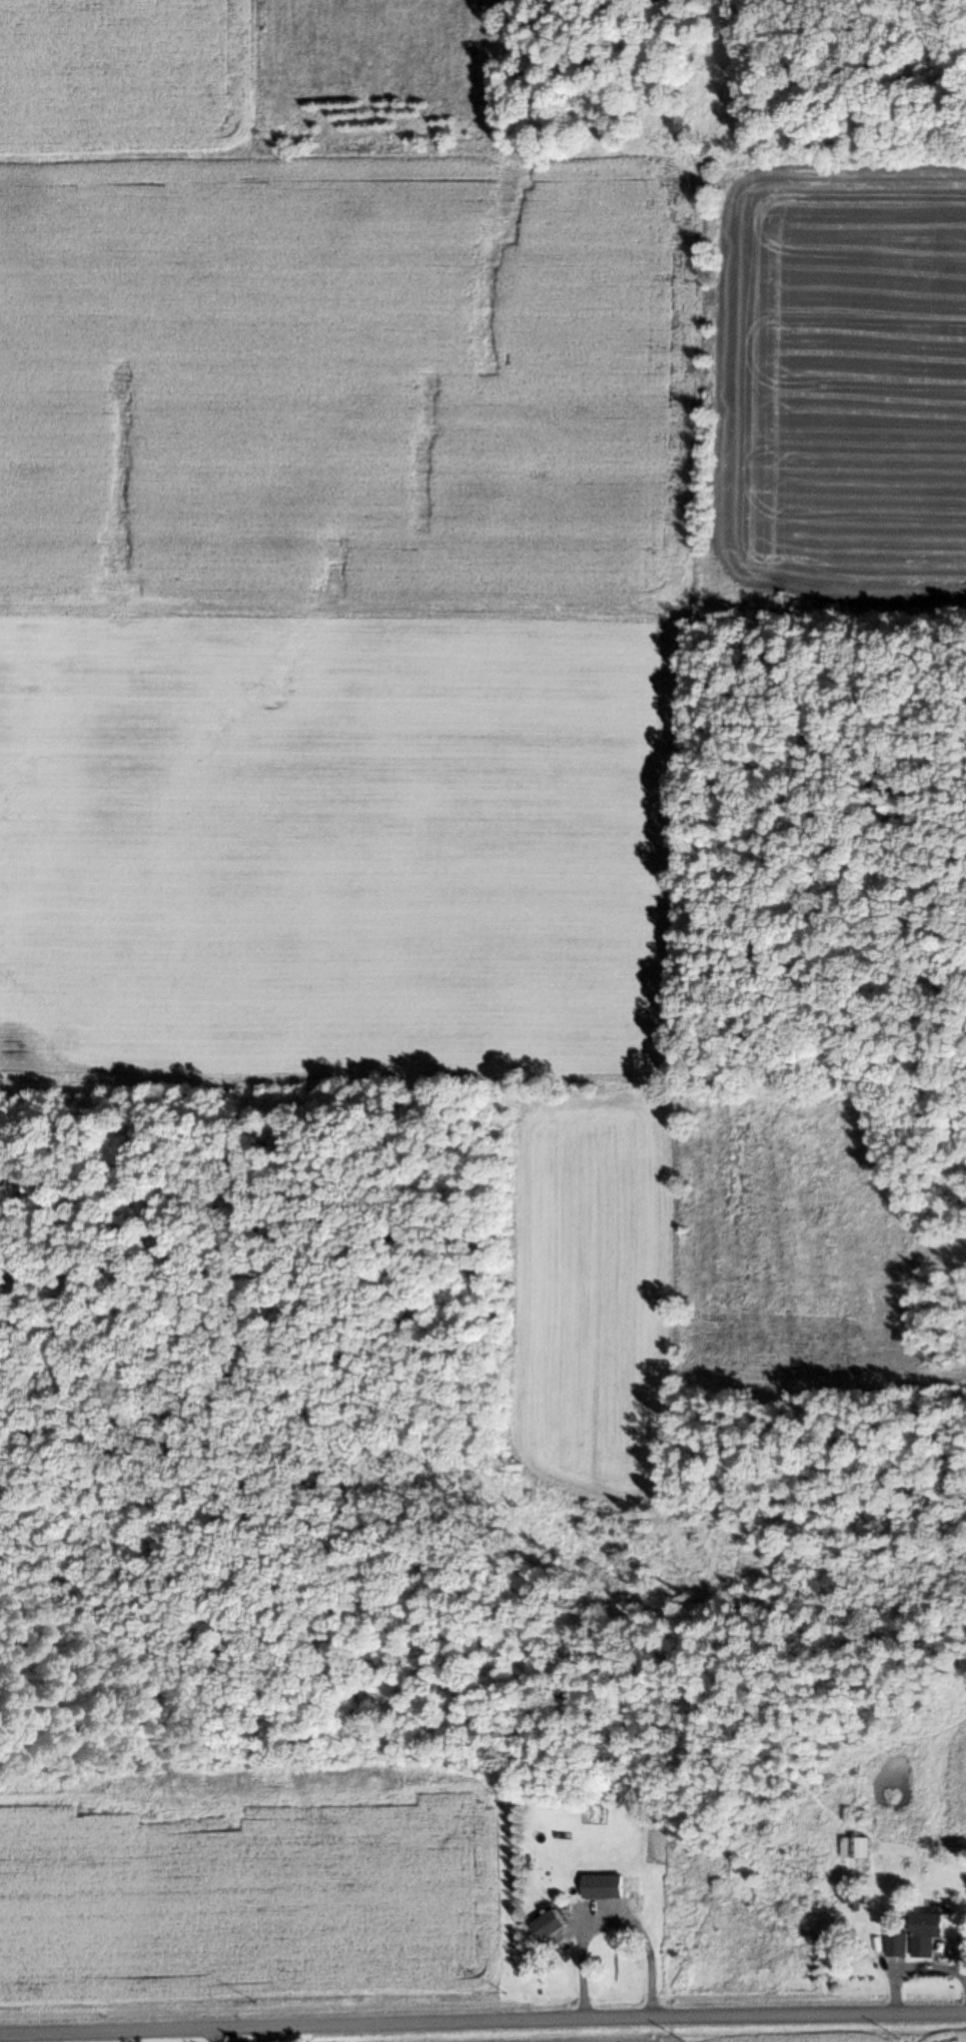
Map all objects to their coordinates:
building: (859, 1846)
building: (607, 1885)
building: (860, 1896)
building: (555, 1923)
building: (930, 1931)
road: (482, 2023)

